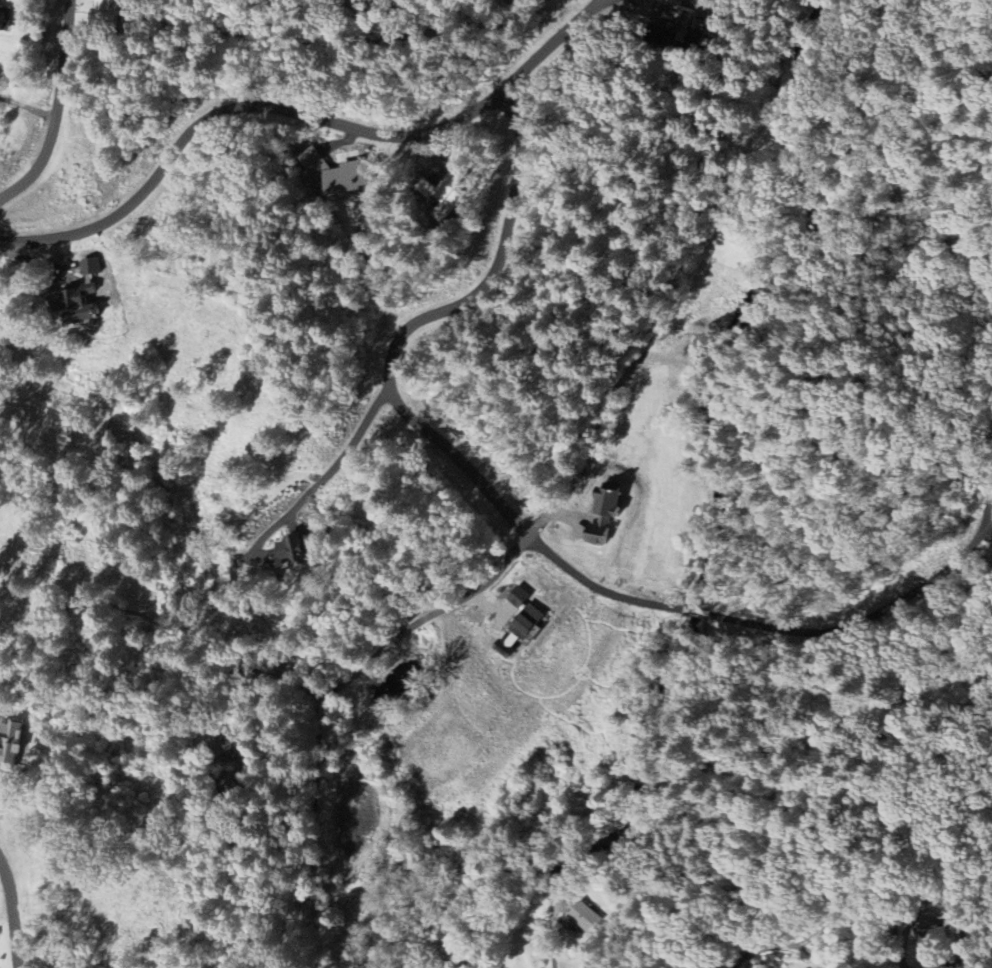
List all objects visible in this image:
building: (113, 11)
building: (7, 17)
building: (699, 19)
road: (55, 109)
road: (303, 117)
building: (351, 179)
building: (455, 187)
road: (493, 269)
road: (349, 440)
road: (454, 458)
building: (613, 513)
building: (304, 548)
road: (583, 590)
building: (527, 621)
road: (353, 667)
building: (236, 779)
road: (12, 913)
building: (586, 916)
road: (804, 940)
road: (550, 943)

